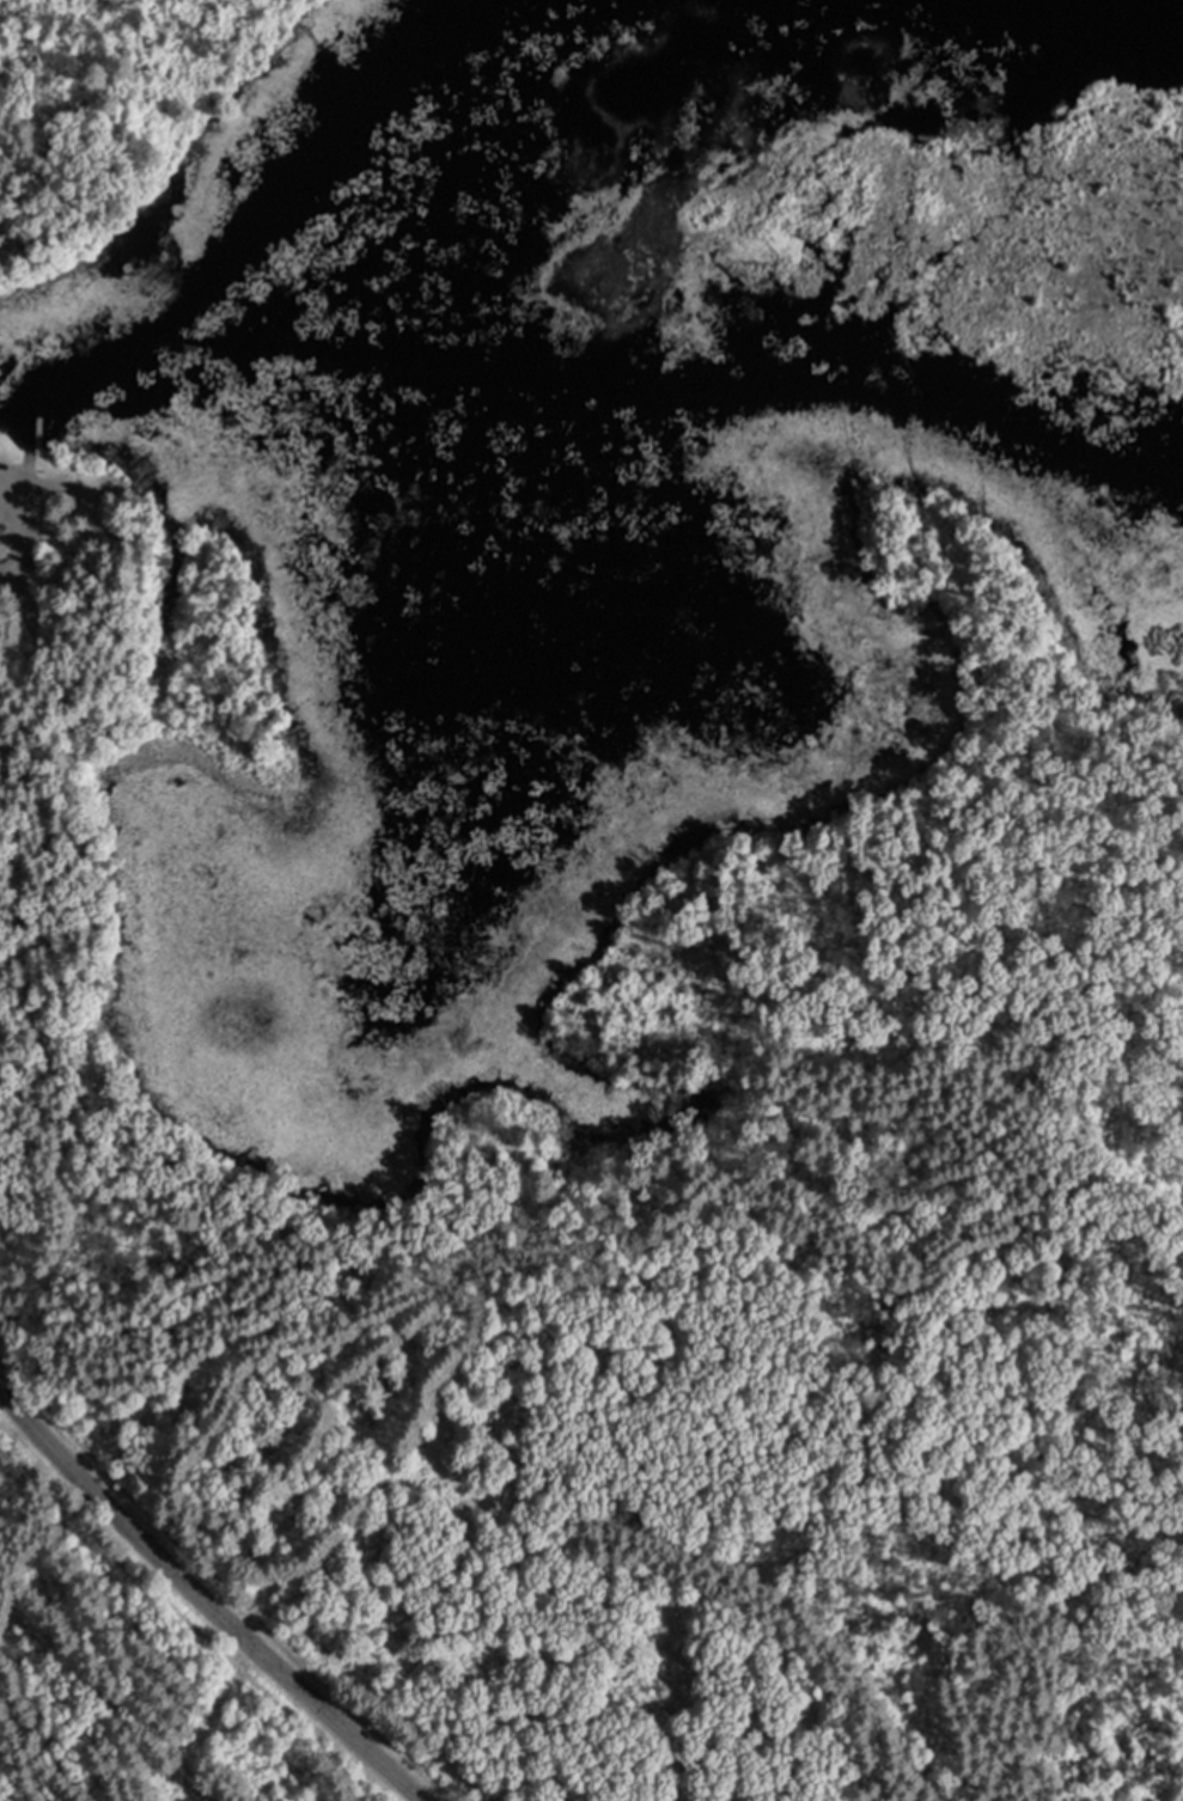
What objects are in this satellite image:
road: (23, 560)
road: (206, 1599)

